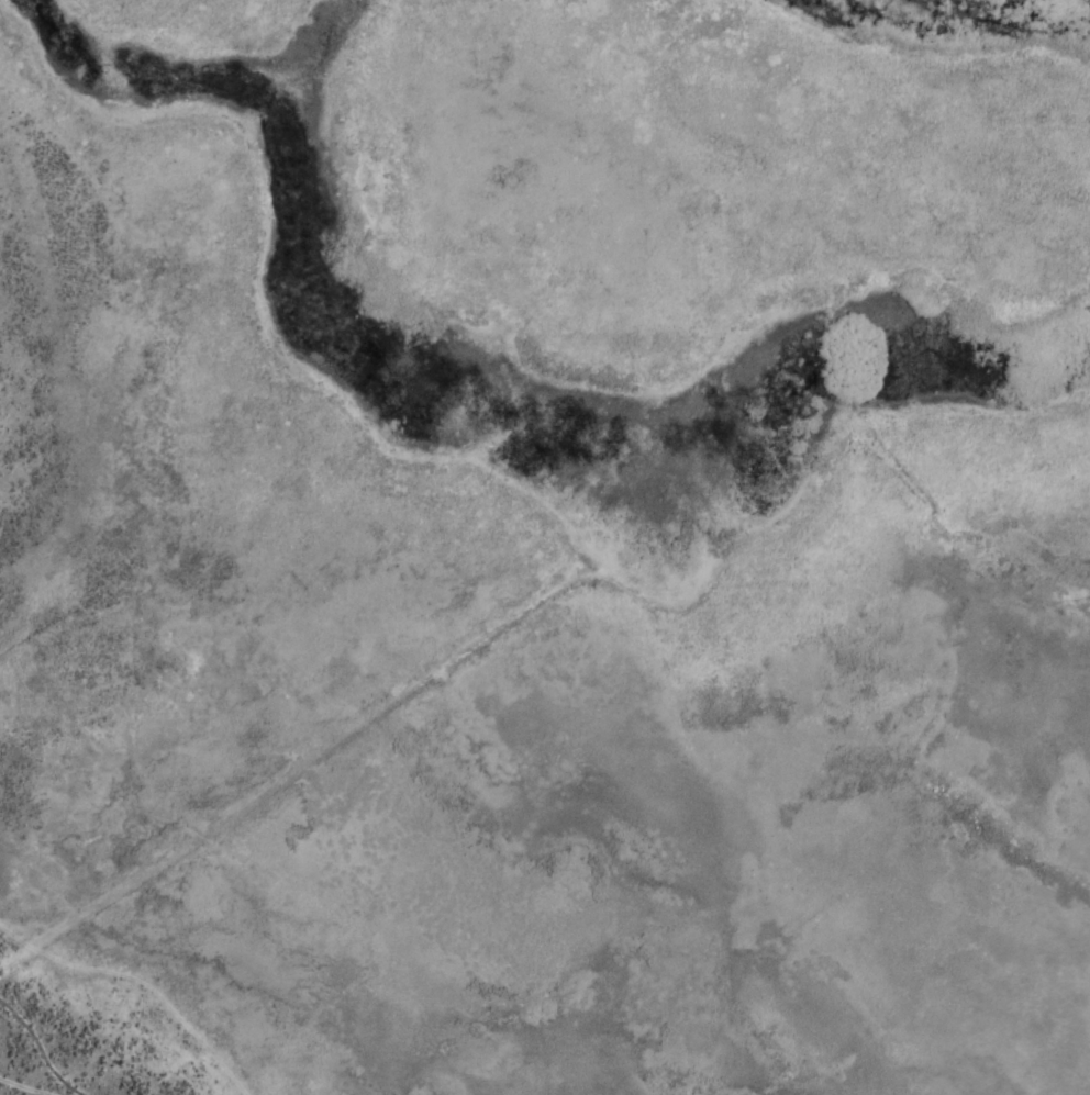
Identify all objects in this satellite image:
crop: (545, 547)

